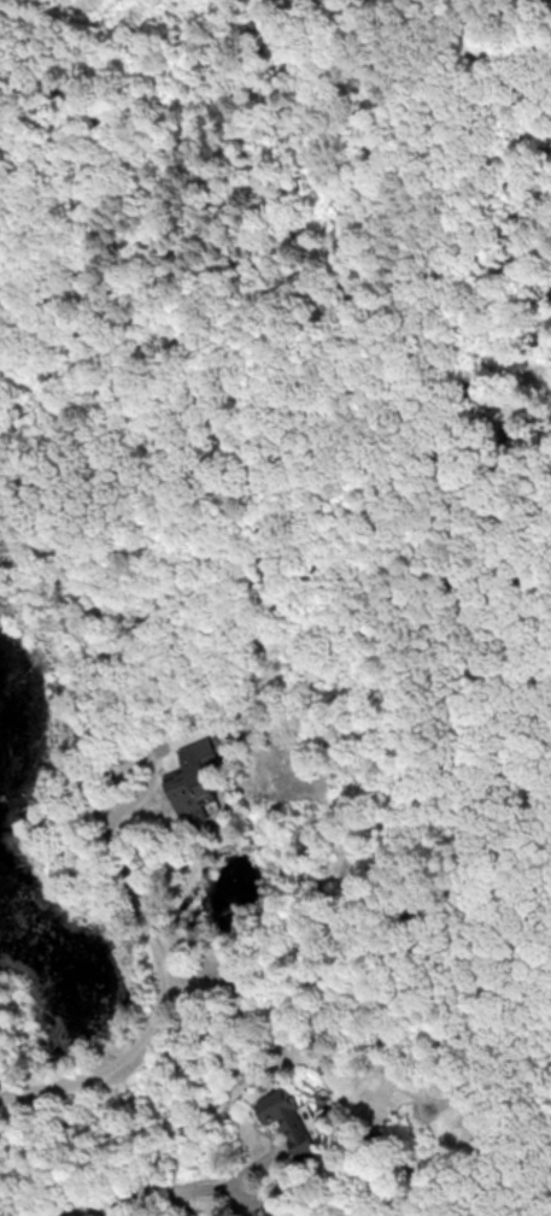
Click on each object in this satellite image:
road: (134, 754)
building: (193, 780)
road: (158, 1006)
building: (287, 1120)
road: (177, 1191)

